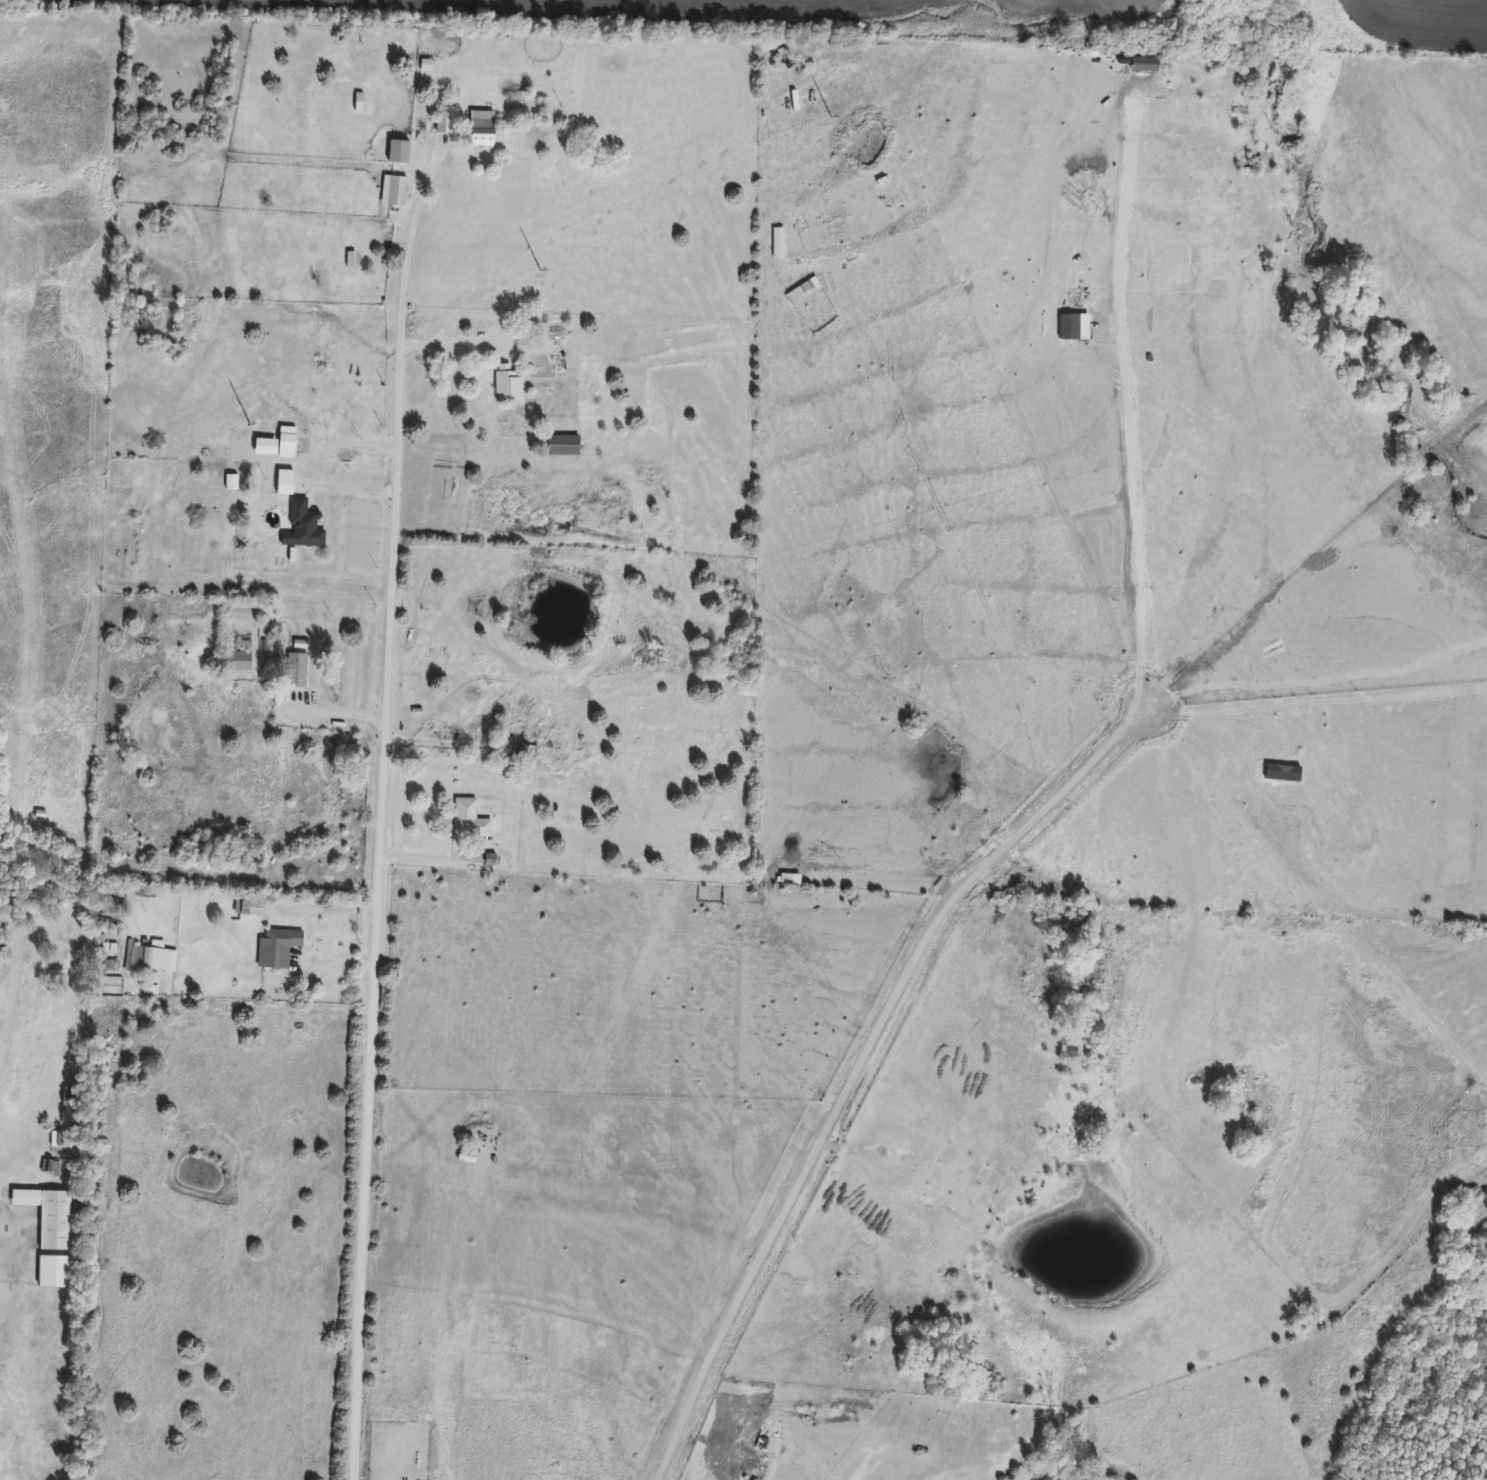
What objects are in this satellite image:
power tower: (825, 100)
building: (443, 123)
building: (482, 132)
building: (396, 191)
road: (419, 196)
power tower: (529, 259)
building: (553, 331)
road: (450, 345)
building: (507, 383)
power tower: (243, 406)
building: (563, 445)
building: (302, 526)
building: (238, 661)
building: (296, 671)
road: (331, 714)
building: (526, 752)
building: (469, 820)
road: (433, 856)
road: (376, 859)
building: (249, 906)
building: (276, 947)
building: (150, 957)
road: (855, 1059)
building: (69, 1100)
building: (54, 1220)
building: (53, 1272)

